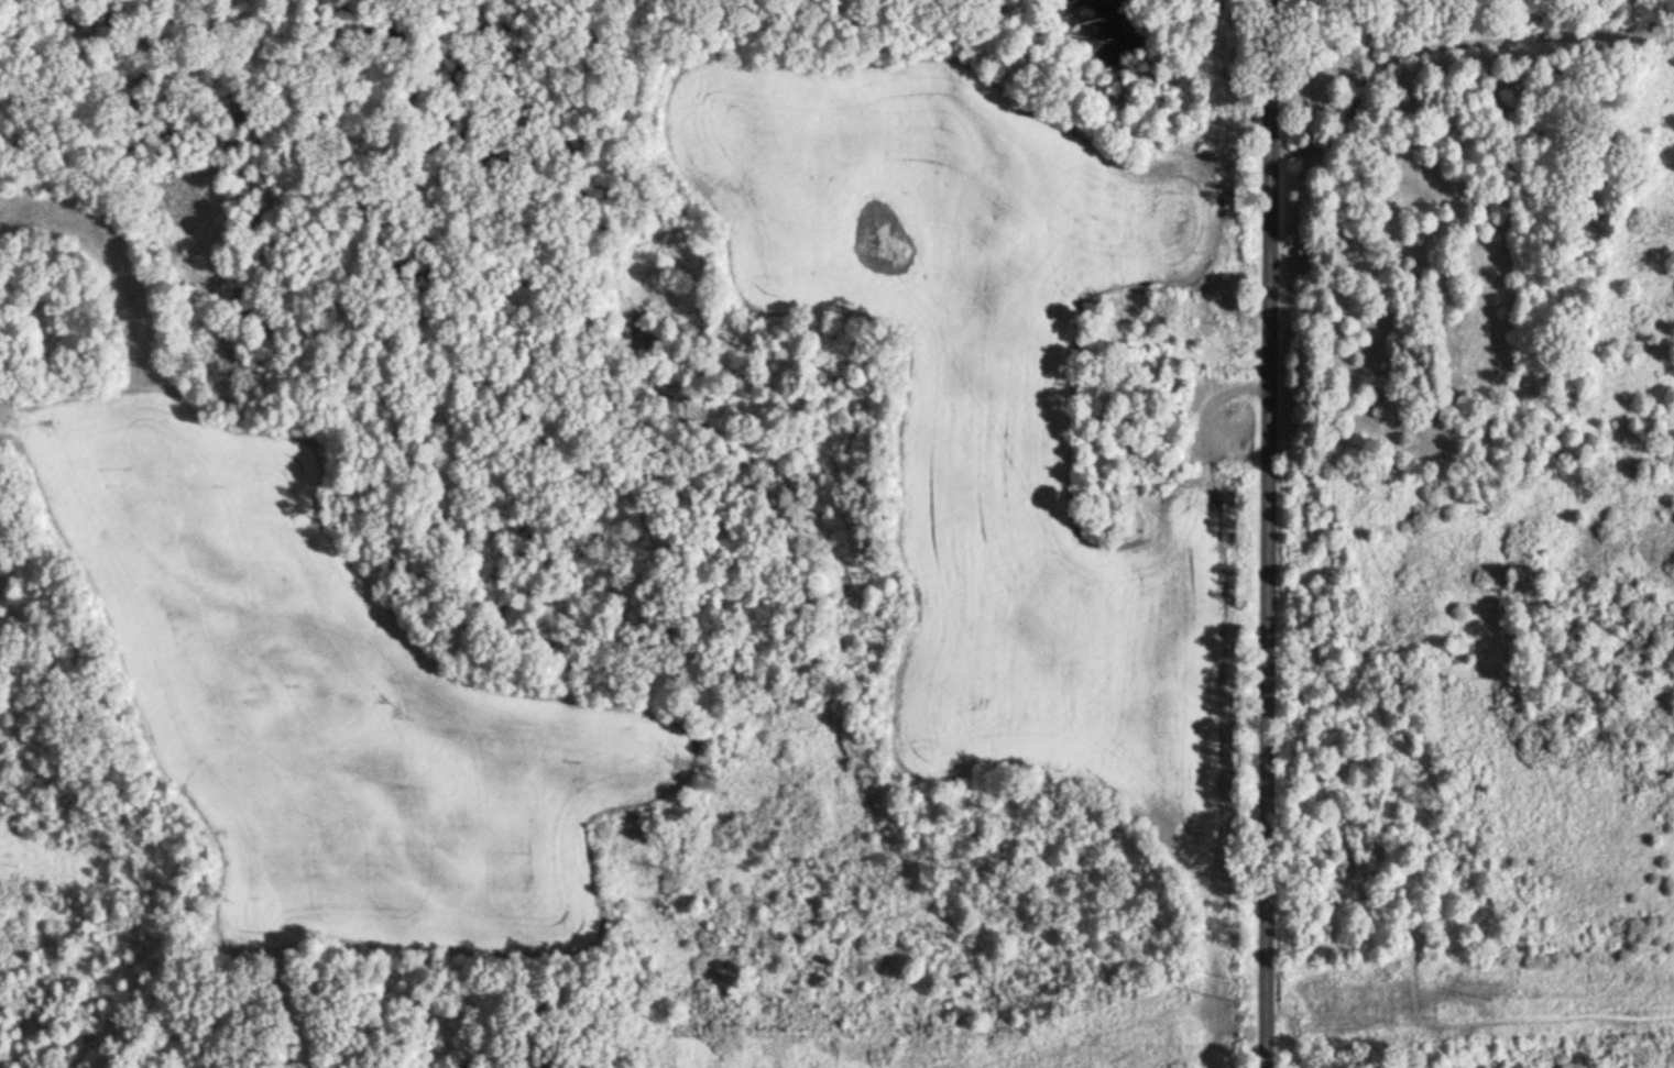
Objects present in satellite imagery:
road: (1444, 46)
road: (1266, 533)

